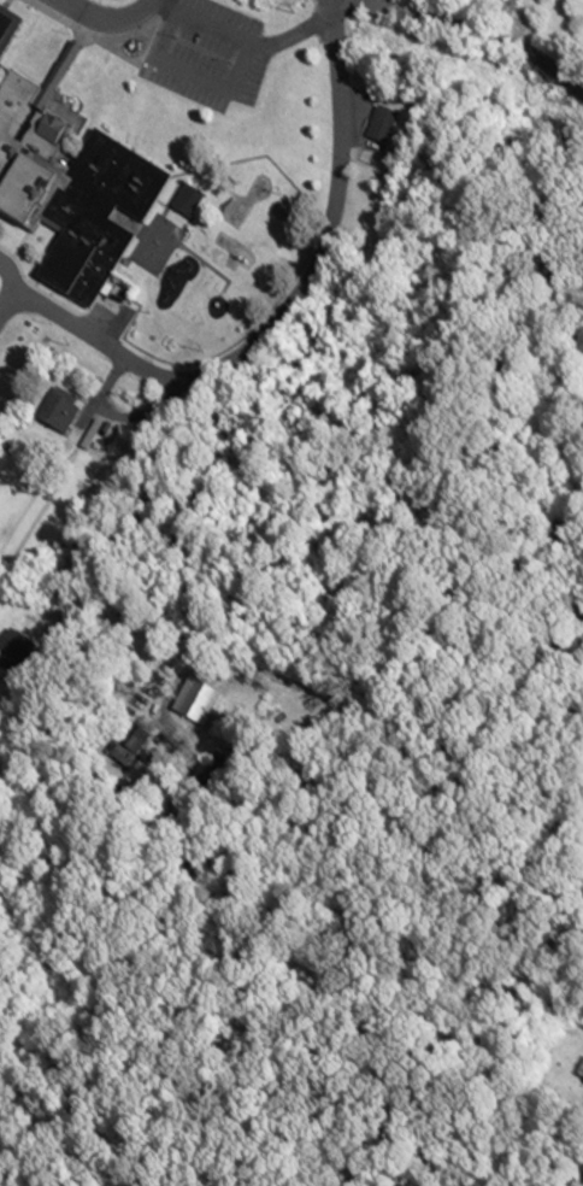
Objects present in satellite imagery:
road: (106, 16)
road: (470, 29)
building: (8, 35)
road: (248, 41)
building: (383, 127)
building: (71, 194)
building: (165, 239)
building: (173, 280)
building: (199, 296)
road: (281, 317)
building: (59, 413)
building: (16, 653)
building: (198, 704)
road: (397, 722)
building: (128, 747)

